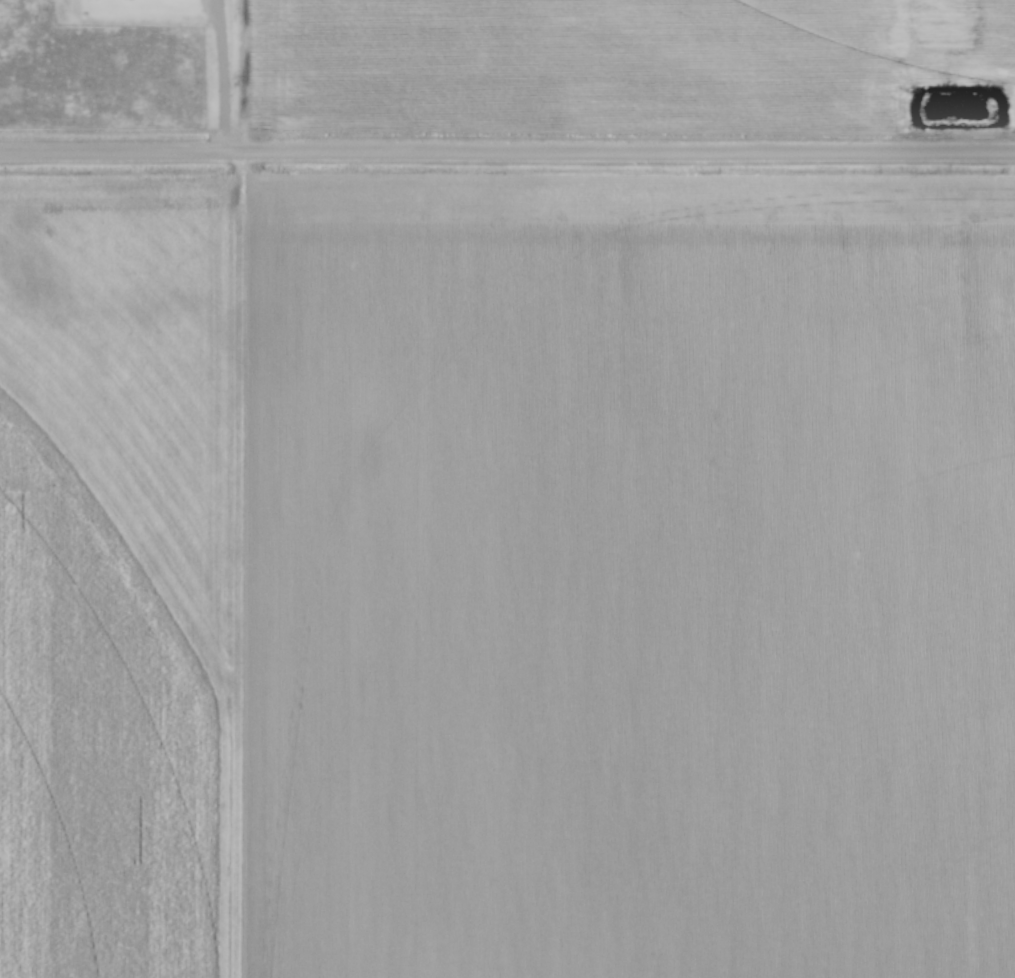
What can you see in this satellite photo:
crop: (610, 59)
road: (220, 75)
road: (507, 153)
crop: (507, 577)

